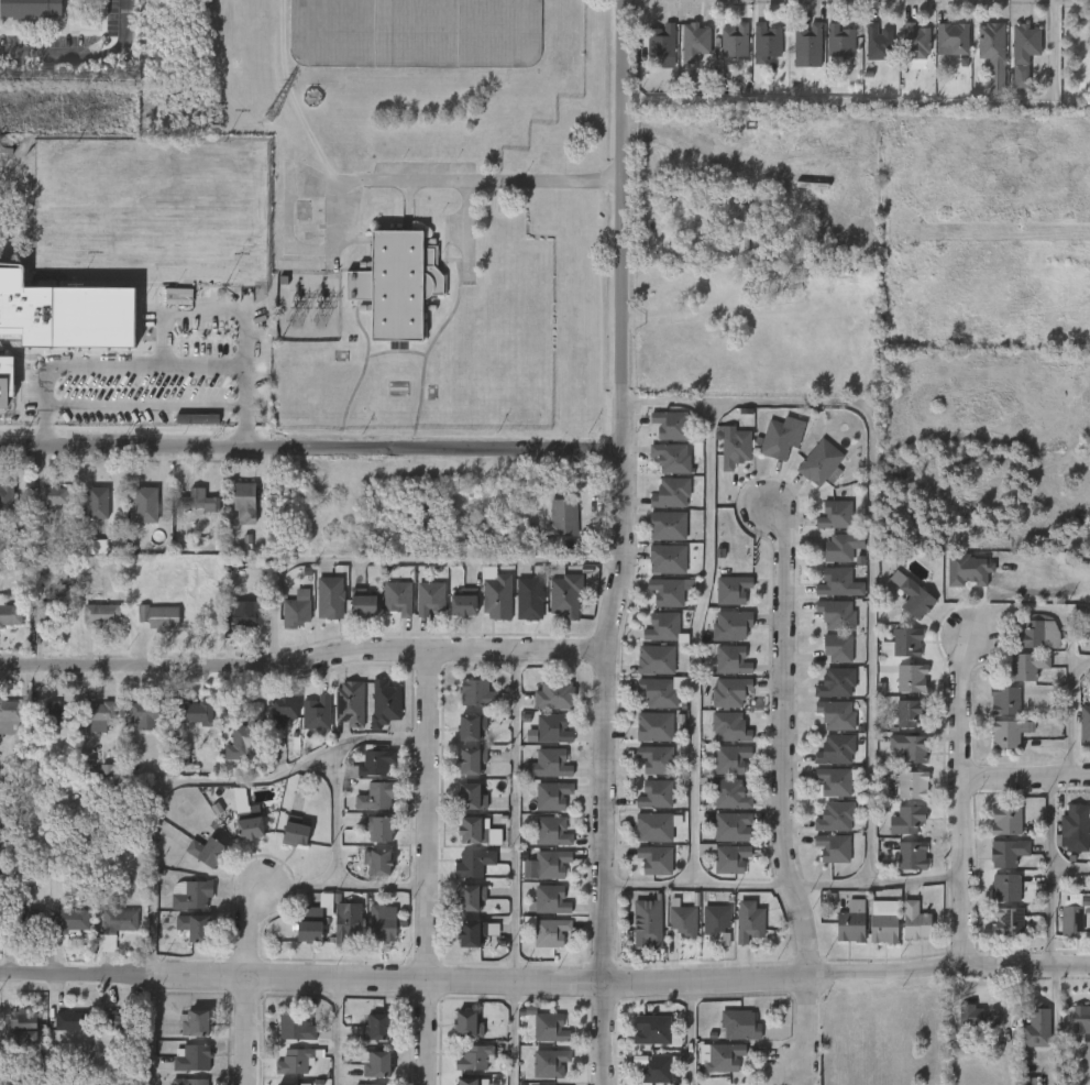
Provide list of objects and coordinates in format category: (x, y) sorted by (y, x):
building: (30, 8)
building: (416, 33)
building: (951, 37)
building: (659, 40)
building: (731, 40)
building: (691, 41)
building: (837, 41)
building: (914, 41)
building: (763, 42)
building: (876, 42)
building: (1022, 42)
building: (807, 46)
road: (85, 51)
building: (990, 53)
road: (456, 180)
road: (466, 227)
building: (742, 231)
building: (246, 244)
building: (727, 250)
building: (396, 285)
road: (208, 306)
building: (64, 317)
road: (144, 363)
building: (4, 382)
parking lot: (110, 386)
road: (143, 407)
building: (670, 424)
road: (45, 432)
road: (243, 432)
building: (775, 440)
road: (312, 445)
building: (735, 448)
building: (672, 458)
building: (817, 461)
road: (625, 489)
building: (671, 492)
building: (55, 495)
building: (5, 498)
building: (197, 500)
building: (243, 501)
building: (100, 503)
building: (144, 505)
building: (834, 515)
building: (564, 517)
road: (870, 524)
building: (667, 525)
building: (529, 530)
building: (836, 548)
road: (400, 559)
building: (667, 559)
building: (833, 582)
building: (733, 589)
building: (496, 591)
building: (667, 591)
building: (564, 595)
building: (330, 596)
building: (397, 596)
building: (911, 596)
building: (429, 598)
building: (529, 598)
building: (361, 602)
building: (463, 603)
building: (296, 609)
building: (10, 613)
building: (834, 614)
building: (103, 615)
building: (243, 616)
building: (53, 617)
building: (161, 617)
building: (1087, 618)
building: (731, 624)
building: (662, 626)
building: (1028, 635)
building: (906, 642)
road: (693, 644)
building: (837, 647)
road: (304, 658)
building: (656, 660)
building: (735, 660)
building: (1026, 666)
building: (909, 678)
building: (834, 683)
building: (477, 692)
building: (658, 692)
building: (733, 692)
building: (558, 695)
building: (1005, 700)
building: (350, 703)
building: (384, 703)
building: (279, 706)
building: (98, 712)
building: (316, 712)
building: (909, 712)
road: (1069, 712)
building: (195, 713)
building: (49, 714)
building: (150, 714)
building: (834, 715)
building: (13, 725)
building: (470, 726)
building: (654, 726)
building: (1085, 726)
building: (728, 727)
building: (555, 728)
building: (245, 732)
building: (1009, 733)
building: (907, 747)
building: (834, 749)
building: (657, 759)
building: (728, 759)
building: (469, 760)
building: (371, 764)
building: (554, 764)
road: (1025, 776)
building: (832, 782)
building: (911, 786)
road: (780, 790)
building: (656, 794)
building: (728, 794)
building: (555, 796)
building: (377, 797)
building: (470, 797)
road: (157, 798)
road: (960, 802)
building: (833, 817)
building: (907, 820)
building: (1006, 821)
building: (1074, 824)
building: (249, 825)
building: (654, 826)
building: (730, 826)
building: (381, 830)
building: (469, 830)
building: (296, 831)
building: (554, 832)
road: (335, 846)
building: (830, 847)
building: (208, 852)
building: (1008, 852)
building: (911, 856)
building: (656, 859)
building: (729, 859)
building: (378, 863)
building: (473, 863)
building: (554, 864)
road: (428, 867)
road: (514, 867)
road: (1069, 868)
road: (1048, 870)
road: (782, 885)
building: (189, 895)
building: (470, 897)
building: (552, 900)
building: (1008, 903)
building: (715, 919)
building: (119, 921)
building: (346, 921)
building: (913, 921)
building: (1068, 921)
building: (681, 922)
building: (747, 922)
building: (25, 923)
building: (70, 923)
building: (384, 923)
building: (849, 923)
building: (307, 924)
building: (191, 927)
road: (249, 928)
building: (881, 929)
building: (650, 930)
building: (469, 933)
building: (553, 933)
road: (544, 977)
building: (976, 1016)
building: (1079, 1017)
building: (118, 1018)
building: (71, 1020)
building: (195, 1023)
building: (466, 1023)
building: (737, 1024)
building: (25, 1026)
building: (295, 1027)
building: (376, 1027)
building: (552, 1027)
building: (652, 1029)
building: (1036, 1029)
road: (247, 1031)
road: (337, 1031)
road: (599, 1031)
road: (691, 1031)
building: (725, 1056)
building: (191, 1057)
building: (474, 1059)
building: (299, 1060)
building: (552, 1062)
building: (378, 1063)
building: (657, 1070)
building: (7, 1079)
building: (189, 1082)
building: (467, 1082)
building: (286, 1084)

